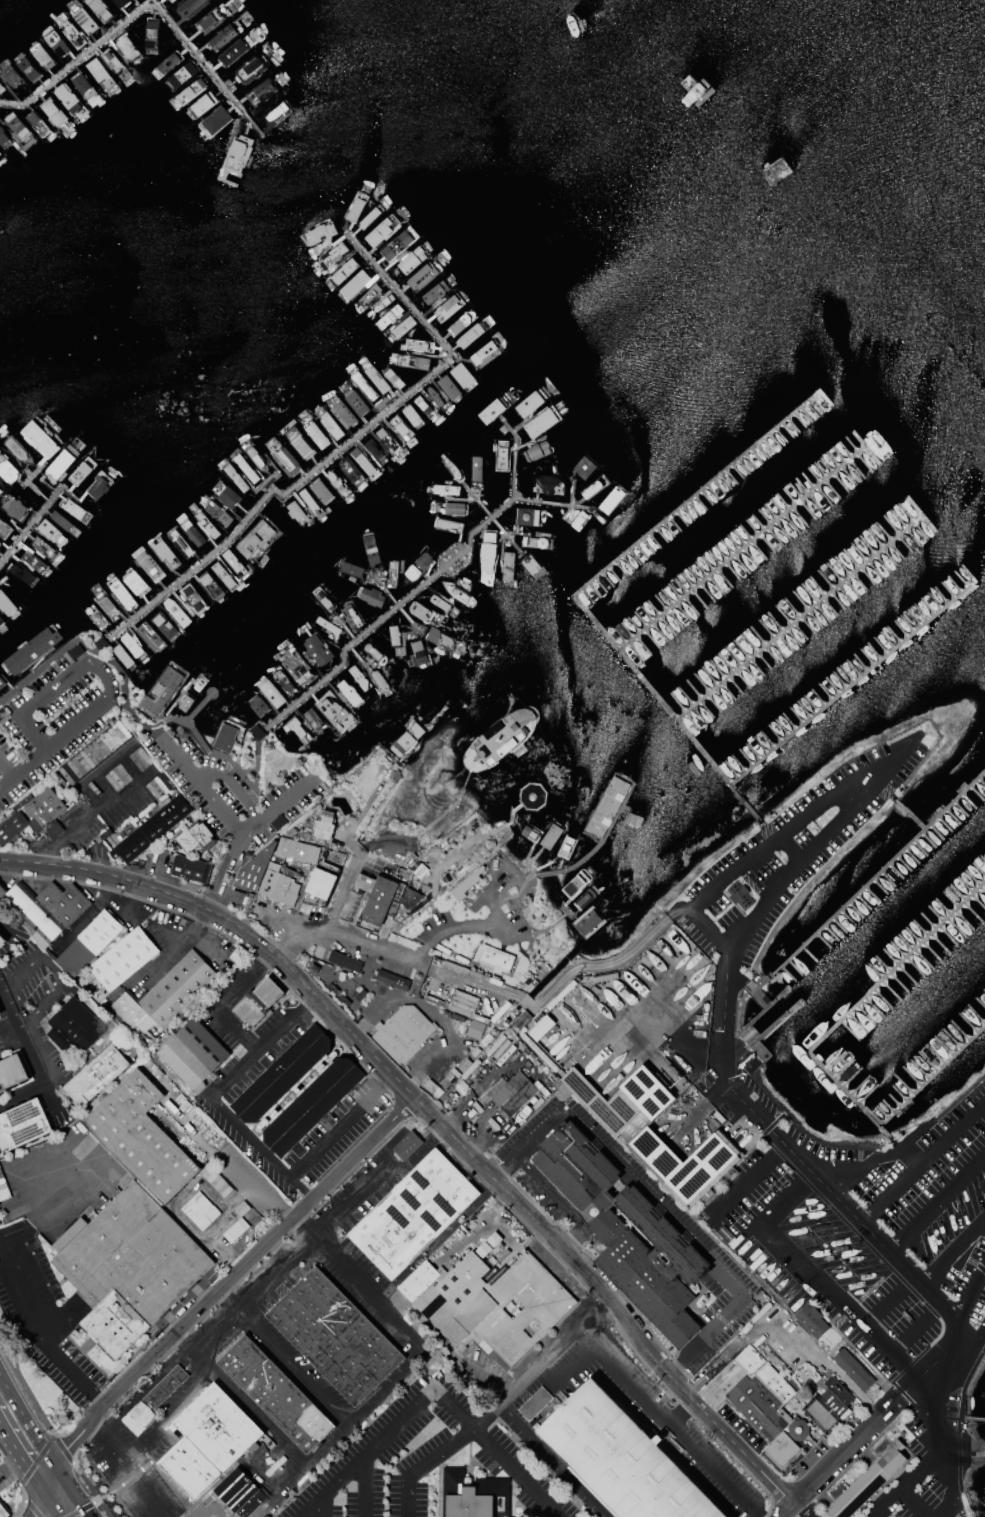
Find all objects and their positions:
building: (170, 0)
building: (120, 2)
pier: (143, 6)
building: (188, 6)
building: (101, 9)
building: (84, 19)
building: (211, 19)
building: (73, 34)
building: (150, 35)
building: (221, 37)
building: (55, 42)
building: (128, 47)
building: (233, 51)
building: (41, 56)
building: (113, 59)
building: (167, 63)
building: (27, 67)
building: (250, 69)
building: (97, 70)
building: (180, 74)
building: (11, 75)
building: (83, 85)
building: (1, 88)
building: (261, 90)
building: (188, 92)
building: (68, 98)
building: (201, 104)
building: (52, 112)
building: (275, 112)
building: (213, 121)
building: (37, 122)
building: (16, 124)
building: (3, 138)
building: (0, 153)
building: (237, 155)
building: (356, 207)
building: (370, 216)
building: (382, 230)
building: (319, 232)
building: (396, 244)
building: (332, 254)
building: (413, 258)
building: (343, 271)
building: (422, 275)
building: (354, 284)
building: (435, 291)
building: (367, 296)
building: (380, 303)
building: (448, 308)
building: (389, 316)
building: (460, 322)
building: (402, 327)
building: (470, 335)
building: (418, 346)
building: (483, 354)
building: (408, 360)
building: (461, 374)
building: (376, 378)
building: (392, 379)
building: (363, 385)
building: (448, 386)
building: (433, 395)
building: (356, 402)
building: (529, 403)
building: (424, 405)
building: (491, 410)
building: (341, 412)
building: (411, 415)
building: (541, 421)
building: (330, 425)
building: (400, 427)
building: (316, 434)
building: (39, 439)
building: (386, 439)
building: (299, 443)
building: (18, 450)
building: (375, 451)
building: (536, 451)
building: (501, 454)
pier: (331, 455)
building: (255, 457)
pier: (742, 457)
building: (284, 459)
building: (363, 461)
building: (61, 462)
building: (584, 466)
building: (450, 467)
building: (475, 467)
building: (244, 468)
building: (7, 470)
building: (350, 470)
building: (80, 471)
building: (235, 477)
building: (336, 482)
pier: (28, 483)
building: (548, 484)
building: (98, 485)
building: (592, 488)
building: (445, 490)
building: (321, 491)
pier: (570, 492)
building: (228, 497)
building: (611, 499)
building: (309, 500)
pier: (555, 502)
building: (13, 505)
building: (454, 508)
building: (75, 509)
building: (217, 512)
building: (296, 512)
building: (527, 515)
pier: (490, 519)
building: (60, 520)
building: (578, 520)
pier: (31, 523)
building: (207, 524)
building: (447, 524)
building: (4, 529)
building: (49, 529)
building: (192, 531)
building: (256, 539)
building: (179, 541)
building: (534, 541)
building: (43, 547)
building: (371, 547)
building: (486, 549)
pier: (746, 551)
building: (164, 553)
building: (232, 559)
building: (33, 560)
building: (148, 565)
building: (507, 565)
building: (530, 566)
building: (349, 567)
building: (416, 567)
building: (391, 573)
building: (21, 574)
building: (223, 575)
building: (135, 582)
building: (10, 585)
building: (210, 585)
pier: (421, 585)
building: (457, 593)
building: (122, 594)
building: (369, 595)
building: (193, 598)
pier: (395, 601)
building: (438, 602)
building: (6, 603)
building: (106, 604)
building: (420, 611)
building: (177, 612)
building: (352, 612)
building: (96, 615)
building: (1, 619)
pier: (798, 620)
building: (327, 625)
building: (164, 626)
building: (394, 635)
building: (149, 636)
building: (441, 638)
building: (130, 644)
building: (316, 648)
building: (32, 649)
building: (399, 649)
building: (374, 653)
building: (418, 653)
building: (123, 655)
building: (296, 668)
building: (358, 676)
building: (2, 680)
building: (379, 680)
building: (282, 681)
pier: (854, 682)
building: (161, 690)
building: (271, 692)
building: (348, 692)
road: (32, 701)
building: (259, 706)
building: (332, 709)
pier: (666, 709)
building: (313, 718)
road: (70, 726)
building: (298, 729)
building: (226, 738)
road: (180, 757)
road: (99, 766)
road: (5, 768)
road: (214, 774)
road: (835, 791)
road: (92, 812)
building: (35, 816)
pier: (914, 818)
building: (324, 825)
building: (150, 829)
road: (241, 834)
building: (194, 836)
building: (296, 850)
parking lot: (787, 852)
building: (190, 868)
building: (254, 869)
building: (466, 883)
building: (277, 884)
building: (319, 887)
pier: (866, 891)
building: (739, 894)
building: (377, 897)
building: (409, 899)
building: (45, 908)
building: (587, 922)
road: (452, 929)
building: (99, 934)
road: (186, 941)
building: (1, 942)
road: (175, 951)
road: (366, 951)
building: (495, 958)
building: (122, 959)
building: (344, 960)
pier: (898, 968)
road: (560, 975)
road: (11, 977)
building: (392, 979)
building: (177, 990)
road: (226, 999)
pier: (762, 1000)
building: (258, 1003)
pier: (765, 1010)
building: (0, 1013)
building: (0, 1016)
pier: (777, 1025)
building: (74, 1029)
building: (475, 1029)
building: (402, 1032)
building: (191, 1057)
road: (29, 1063)
building: (11, 1071)
building: (95, 1078)
parking lot: (229, 1084)
building: (295, 1092)
building: (511, 1092)
road: (209, 1094)
pier: (895, 1110)
road: (338, 1125)
building: (21, 1126)
road: (439, 1126)
pier: (883, 1129)
building: (139, 1138)
building: (639, 1141)
building: (406, 1147)
road: (922, 1160)
road: (749, 1182)
road: (255, 1187)
road: (830, 1191)
parking lot: (549, 1201)
road: (938, 1201)
road: (54, 1202)
road: (560, 1203)
road: (656, 1203)
building: (199, 1209)
building: (412, 1215)
building: (624, 1233)
road: (953, 1252)
parking lot: (874, 1258)
road: (285, 1262)
building: (127, 1268)
road: (813, 1277)
road: (970, 1287)
road: (210, 1297)
road: (888, 1300)
building: (487, 1304)
road: (394, 1318)
building: (810, 1318)
road: (913, 1326)
road: (215, 1330)
road: (42, 1332)
building: (334, 1335)
road: (186, 1340)
road: (9, 1349)
road: (557, 1356)
road: (7, 1359)
building: (852, 1367)
road: (290, 1369)
road: (433, 1390)
building: (275, 1393)
building: (757, 1394)
building: (157, 1397)
building: (535, 1403)
road: (651, 1405)
building: (828, 1405)
road: (250, 1406)
road: (933, 1407)
road: (683, 1412)
road: (167, 1413)
pier: (981, 1421)
road: (27, 1424)
building: (217, 1429)
road: (60, 1446)
building: (881, 1446)
traffic signals: (66, 1448)
building: (781, 1448)
road: (165, 1451)
road: (840, 1451)
road: (435, 1452)
pier: (981, 1456)
building: (622, 1458)
road: (36, 1459)
road: (23, 1460)
road: (554, 1463)
road: (129, 1467)
traffic signals: (28, 1468)
building: (187, 1471)
building: (867, 1478)
road: (905, 1482)
road: (951, 1484)
road: (363, 1485)
road: (22, 1492)
building: (240, 1492)
road: (72, 1493)
building: (473, 1496)
road: (914, 1501)
road: (210, 1502)
road: (305, 1506)
road: (53, 1507)
road: (32, 1508)
road: (81, 1508)
road: (783, 1509)
traffic signals: (84, 1510)
building: (3, 1512)
parking lot: (806, 1512)
road: (36, 1515)
traffic signals: (36, 1516)

